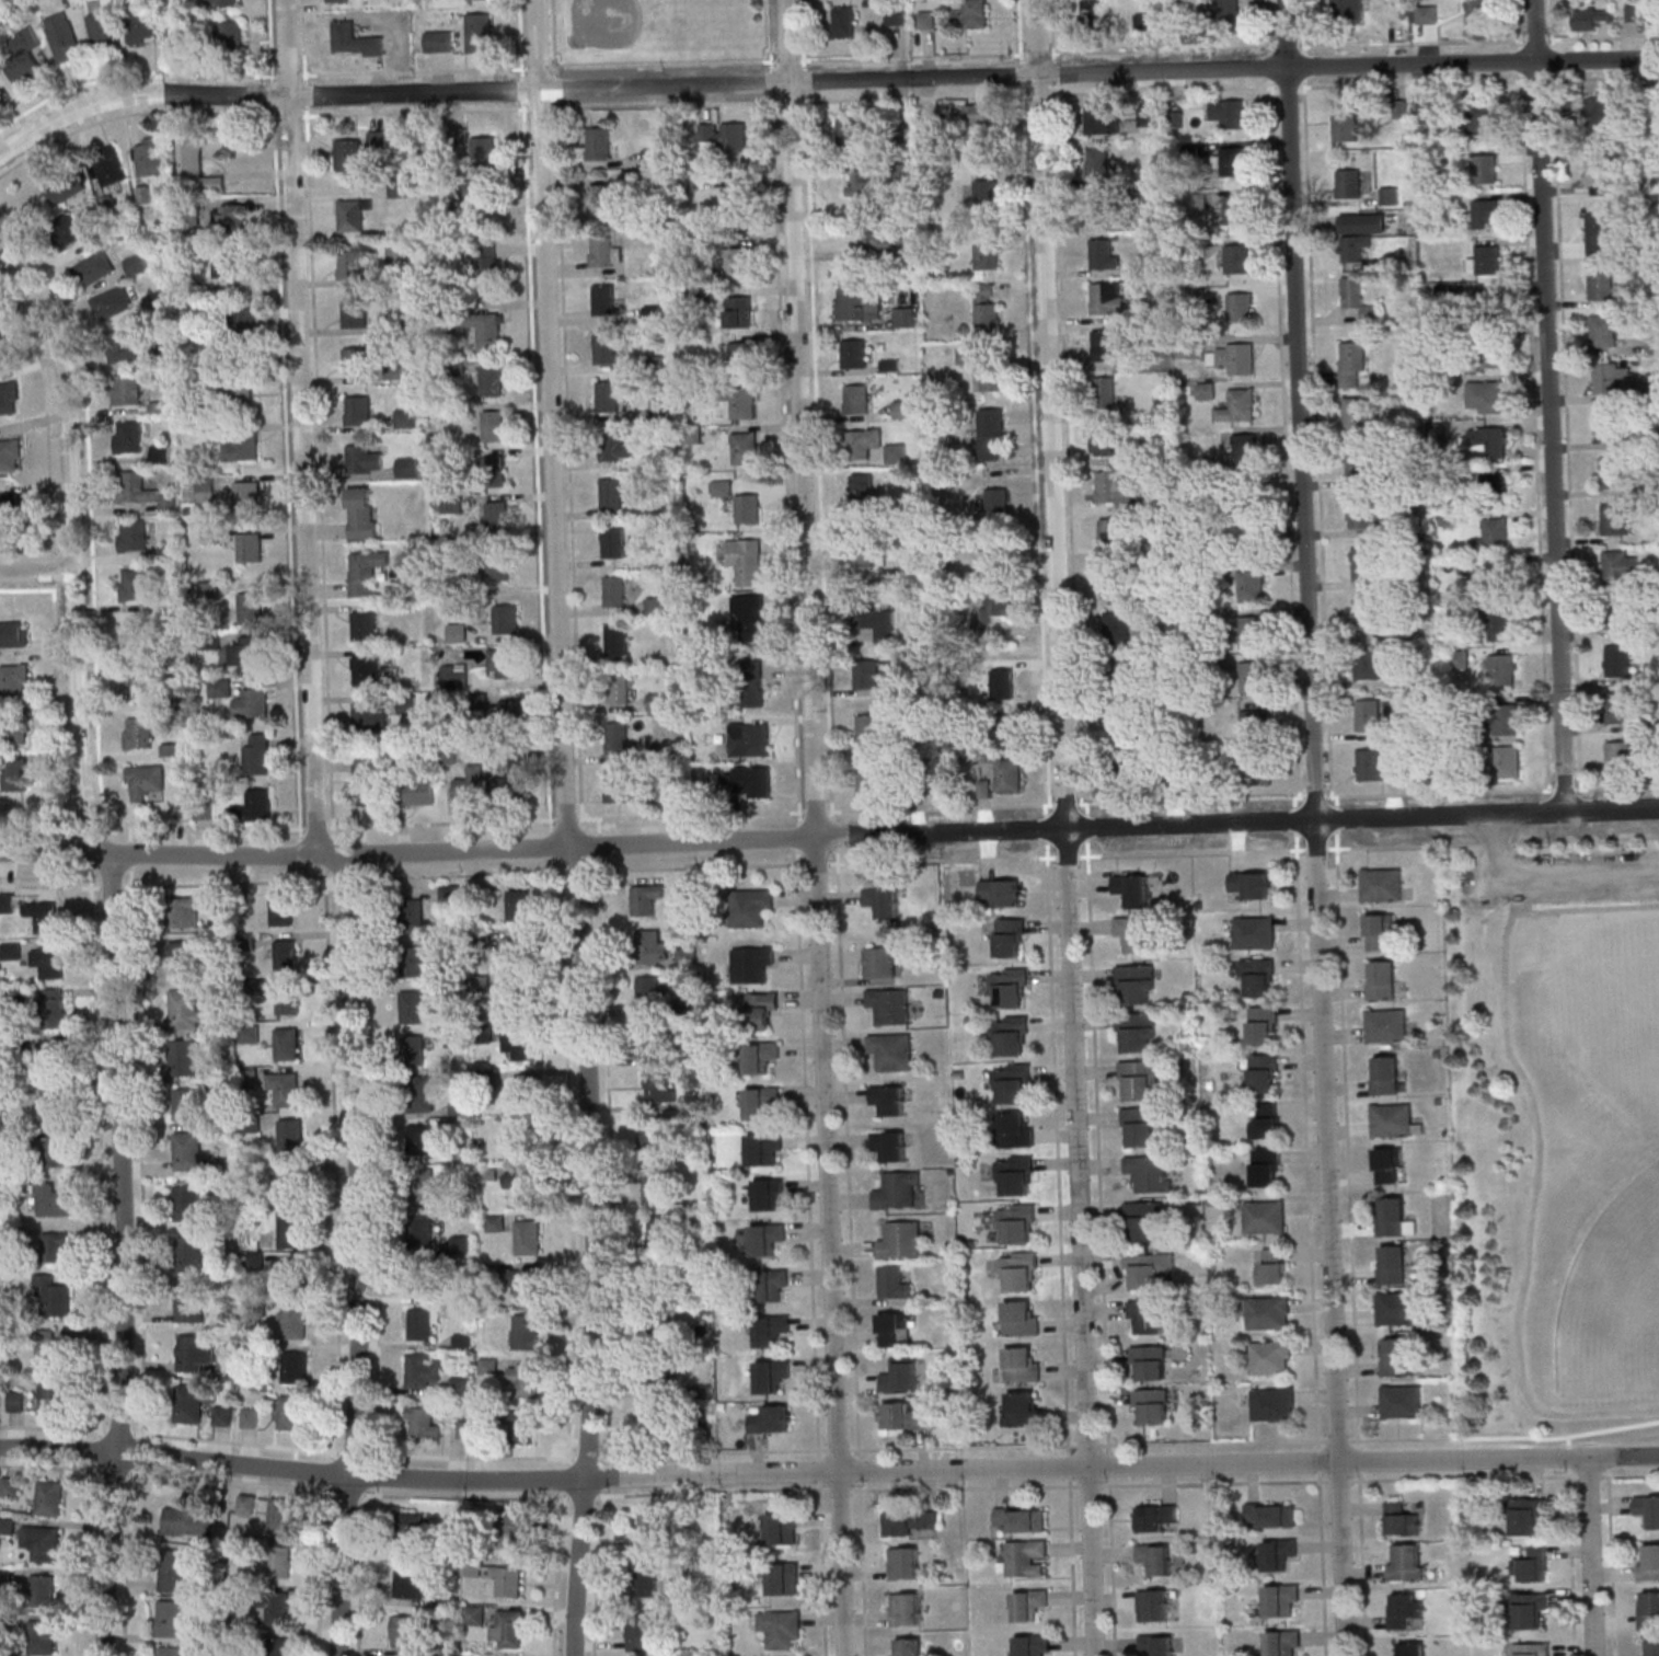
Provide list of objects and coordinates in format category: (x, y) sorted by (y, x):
building: (336, 1)
building: (222, 2)
building: (1348, 9)
building: (1221, 10)
building: (1091, 12)
building: (1478, 12)
building: (977, 13)
building: (1425, 14)
building: (897, 15)
park: (648, 19)
building: (926, 20)
building: (1590, 20)
building: (843, 21)
building: (140, 24)
road: (1552, 24)
building: (479, 26)
building: (102, 27)
road: (1303, 27)
park: (659, 32)
road: (1019, 32)
building: (230, 33)
road: (803, 33)
road: (770, 34)
building: (62, 36)
road: (1602, 36)
road: (519, 37)
road: (553, 38)
building: (346, 39)
road: (269, 41)
building: (21, 53)
road: (912, 57)
road: (787, 60)
road: (661, 64)
road: (1303, 64)
road: (136, 71)
road: (822, 82)
building: (0, 92)
road: (821, 100)
building: (1599, 108)
building: (1229, 112)
building: (982, 113)
building: (1427, 113)
building: (1103, 117)
building: (1482, 117)
building: (1346, 126)
building: (851, 130)
building: (725, 135)
building: (376, 138)
building: (598, 143)
building: (932, 146)
building: (484, 150)
building: (347, 154)
building: (149, 156)
building: (1233, 161)
building: (1098, 163)
building: (108, 165)
building: (1485, 168)
building: (194, 169)
building: (1599, 175)
building: (861, 183)
building: (1348, 183)
building: (987, 186)
building: (64, 187)
building: (399, 188)
building: (480, 192)
building: (600, 195)
building: (734, 200)
building: (1097, 208)
building: (1233, 209)
building: (352, 214)
building: (1486, 214)
building: (232, 217)
building: (70, 229)
building: (1601, 234)
building: (1360, 235)
building: (891, 241)
building: (603, 251)
building: (1104, 254)
building: (987, 255)
building: (1239, 258)
building: (487, 260)
building: (1486, 261)
building: (736, 263)
building: (136, 264)
building: (349, 264)
building: (226, 265)
building: (92, 268)
building: (1602, 284)
building: (1353, 291)
building: (1108, 297)
building: (603, 298)
building: (158, 299)
building: (1486, 301)
building: (111, 302)
building: (859, 303)
building: (987, 304)
building: (1239, 307)
building: (739, 311)
building: (356, 312)
building: (905, 317)
building: (243, 319)
building: (1603, 330)
building: (489, 332)
building: (1654, 344)
building: (119, 345)
building: (1107, 345)
building: (604, 347)
building: (854, 353)
building: (967, 354)
building: (742, 355)
building: (1490, 355)
building: (2, 357)
building: (1234, 358)
building: (355, 361)
building: (1352, 363)
building: (993, 373)
building: (1613, 378)
building: (492, 380)
building: (125, 389)
building: (1207, 390)
building: (1108, 391)
building: (8, 393)
building: (241, 393)
building: (608, 395)
building: (1485, 396)
building: (856, 398)
building: (744, 403)
building: (1239, 405)
road: (1553, 405)
building: (660, 409)
building: (903, 409)
building: (357, 410)
building: (1356, 412)
building: (404, 418)
road: (553, 424)
building: (1610, 424)
building: (491, 425)
road: (303, 428)
building: (992, 434)
building: (127, 436)
building: (1106, 439)
building: (863, 442)
building: (1487, 442)
building: (239, 447)
building: (614, 447)
building: (745, 448)
building: (1244, 448)
building: (160, 453)
building: (897, 453)
building: (10, 455)
building: (364, 459)
building: (1359, 463)
building: (406, 467)
building: (493, 469)
building: (1612, 472)
building: (1490, 486)
building: (1115, 487)
building: (205, 488)
building: (863, 488)
building: (138, 490)
building: (611, 493)
building: (244, 495)
building: (1243, 495)
building: (999, 502)
building: (10, 505)
building: (748, 508)
building: (361, 513)
building: (1362, 513)
building: (496, 516)
building: (1616, 518)
building: (1110, 532)
building: (133, 534)
building: (1493, 536)
building: (613, 542)
building: (249, 547)
road: (35, 548)
building: (868, 559)
building: (746, 560)
building: (1363, 563)
building: (998, 564)
building: (1620, 566)
building: (493, 568)
road: (35, 572)
building: (366, 572)
building: (1497, 574)
road: (51, 582)
building: (1113, 582)
building: (134, 584)
building: (1248, 586)
road: (25, 589)
building: (208, 589)
building: (614, 590)
building: (656, 606)
building: (996, 606)
building: (250, 607)
building: (1366, 612)
building: (1617, 612)
building: (751, 616)
building: (506, 619)
building: (877, 622)
building: (1500, 624)
building: (364, 625)
building: (1117, 628)
building: (1249, 631)
building: (13, 632)
building: (147, 633)
building: (617, 640)
building: (245, 651)
building: (1459, 658)
building: (1616, 660)
building: (505, 662)
building: (1367, 664)
building: (1502, 668)
building: (365, 670)
building: (866, 674)
building: (1119, 676)
building: (1251, 677)
building: (14, 678)
building: (753, 682)
building: (1003, 682)
building: (141, 685)
building: (620, 687)
building: (219, 688)
building: (658, 701)
building: (252, 703)
building: (408, 704)
building: (1618, 706)
building: (511, 712)
building: (1368, 714)
building: (370, 716)
building: (1505, 718)
building: (1117, 723)
road: (1295, 724)
building: (1254, 726)
building: (869, 729)
building: (15, 731)
building: (1006, 732)
building: (138, 733)
building: (750, 736)
building: (618, 738)
building: (1620, 752)
building: (256, 754)
road: (1329, 761)
building: (1507, 761)
building: (368, 763)
building: (1369, 763)
building: (1122, 767)
building: (1258, 769)
building: (15, 773)
building: (1009, 775)
building: (515, 778)
building: (869, 779)
building: (146, 783)
building: (470, 784)
building: (756, 784)
building: (620, 785)
building: (419, 792)
building: (369, 793)
building: (256, 805)
road: (110, 814)
road: (46, 820)
road: (1315, 827)
road: (814, 828)
road: (1065, 828)
road: (1082, 828)
road: (829, 837)
road: (1046, 860)
road: (836, 861)
road: (797, 862)
road: (1552, 873)
parking lot: (1565, 876)
building: (1253, 884)
building: (1383, 884)
building: (1132, 889)
building: (1003, 892)
building: (450, 894)
building: (645, 898)
building: (883, 900)
building: (517, 904)
building: (751, 907)
building: (281, 909)
building: (183, 911)
building: (413, 915)
building: (46, 918)
building: (1134, 932)
building: (1256, 932)
building: (1380, 932)
building: (1010, 936)
road: (111, 940)
building: (653, 945)
building: (520, 950)
building: (11, 951)
building: (286, 955)
building: (687, 956)
building: (181, 958)
building: (49, 959)
building: (412, 961)
building: (879, 962)
building: (752, 964)
building: (1258, 977)
building: (1381, 979)
building: (1136, 984)
building: (1010, 987)
building: (648, 989)
building: (517, 994)
building: (286, 999)
building: (890, 1004)
building: (413, 1007)
building: (54, 1008)
building: (185, 1009)
building: (761, 1009)
park: (1610, 1017)
building: (1264, 1025)
building: (1386, 1025)
building: (1138, 1032)
building: (1011, 1035)
building: (454, 1038)
building: (520, 1043)
building: (287, 1044)
building: (653, 1047)
building: (413, 1049)
building: (891, 1050)
building: (55, 1056)
building: (761, 1056)
building: (183, 1057)
building: (1265, 1073)
building: (1385, 1074)
building: (1139, 1080)
building: (1013, 1083)
building: (658, 1085)
building: (285, 1088)
building: (526, 1091)
building: (423, 1093)
building: (889, 1099)
building: (762, 1102)
building: (184, 1103)
building: (54, 1105)
building: (1394, 1120)
building: (1266, 1122)
building: (1142, 1127)
building: (1015, 1129)
park: (1556, 1129)
building: (290, 1135)
building: (654, 1137)
building: (419, 1139)
building: (523, 1140)
building: (890, 1145)
building: (765, 1149)
building: (59, 1151)
building: (191, 1152)
building: (1387, 1164)
building: (1267, 1168)
building: (1151, 1172)
building: (1015, 1175)
building: (290, 1181)
building: (423, 1185)
building: (659, 1185)
building: (522, 1186)
building: (898, 1191)
building: (770, 1194)
building: (51, 1200)
building: (187, 1203)
building: (1265, 1217)
building: (1393, 1218)
building: (1143, 1221)
building: (494, 1222)
building: (1017, 1223)
building: (291, 1229)
building: (420, 1230)
building: (661, 1233)
building: (527, 1237)
building: (768, 1238)
building: (901, 1240)
building: (460, 1244)
building: (56, 1246)
road: (592, 1252)
building: (189, 1253)
road: (361, 1256)
building: (1391, 1264)
building: (1272, 1266)
building: (1150, 1269)
building: (292, 1272)
building: (1019, 1272)
building: (422, 1280)
building: (527, 1280)
building: (894, 1283)
building: (773, 1285)
building: (51, 1295)
park: (1617, 1300)
building: (189, 1303)
building: (1396, 1308)
building: (656, 1310)
building: (1268, 1312)
building: (1147, 1316)
building: (1022, 1318)
building: (293, 1319)
building: (424, 1324)
building: (894, 1329)
building: (771, 1330)
building: (526, 1331)
building: (51, 1347)
building: (193, 1353)
building: (1270, 1356)
building: (1395, 1357)
building: (1150, 1362)
building: (1023, 1365)
building: (295, 1367)
building: (423, 1369)
building: (772, 1375)
building: (901, 1376)
building: (526, 1378)
building: (460, 1384)
building: (53, 1393)
building: (1402, 1401)
building: (188, 1403)
building: (1272, 1403)
building: (1153, 1404)
building: (1023, 1407)
building: (291, 1412)
building: (222, 1415)
building: (906, 1416)
building: (250, 1417)
building: (772, 1419)
building: (659, 1421)
building: (424, 1422)
road: (60, 1426)
building: (521, 1426)
road: (126, 1430)
road: (1404, 1438)
road: (1337, 1440)
road: (95, 1449)
road: (728, 1450)
road: (136, 1457)
road: (1358, 1458)
road: (1318, 1460)
road: (828, 1473)
road: (1484, 1476)
building: (10, 1486)
road: (588, 1495)
building: (49, 1497)
building: (246, 1504)
building: (1647, 1510)
building: (281, 1515)
building: (1526, 1515)
building: (1157, 1517)
building: (1278, 1517)
building: (1022, 1519)
building: (1402, 1519)
building: (189, 1521)
building: (912, 1522)
building: (412, 1526)
building: (779, 1528)
building: (652, 1529)
building: (515, 1532)
building: (42, 1542)
building: (1279, 1553)
building: (1156, 1557)
road: (1592, 1557)
building: (1026, 1559)
building: (280, 1562)
road: (1362, 1562)
road: (1571, 1562)
building: (905, 1563)
building: (1408, 1563)
building: (1649, 1563)
road: (1322, 1564)
building: (1531, 1564)
building: (173, 1571)
building: (784, 1578)
building: (411, 1580)
building: (507, 1580)
building: (646, 1582)
building: (42, 1590)
building: (1281, 1599)
building: (1030, 1603)
building: (1154, 1605)
building: (275, 1608)
building: (906, 1608)
building: (1647, 1608)
building: (1405, 1609)
building: (1528, 1610)
building: (474, 1614)
building: (171, 1618)
building: (781, 1628)
building: (509, 1629)
building: (406, 1630)
building: (641, 1631)
building: (39, 1636)
building: (1283, 1643)
building: (1033, 1645)
building: (1160, 1645)
building: (278, 1646)
building: (907, 1646)
building: (1650, 1647)
building: (1413, 1649)
building: (1532, 1649)
building: (170, 1651)

